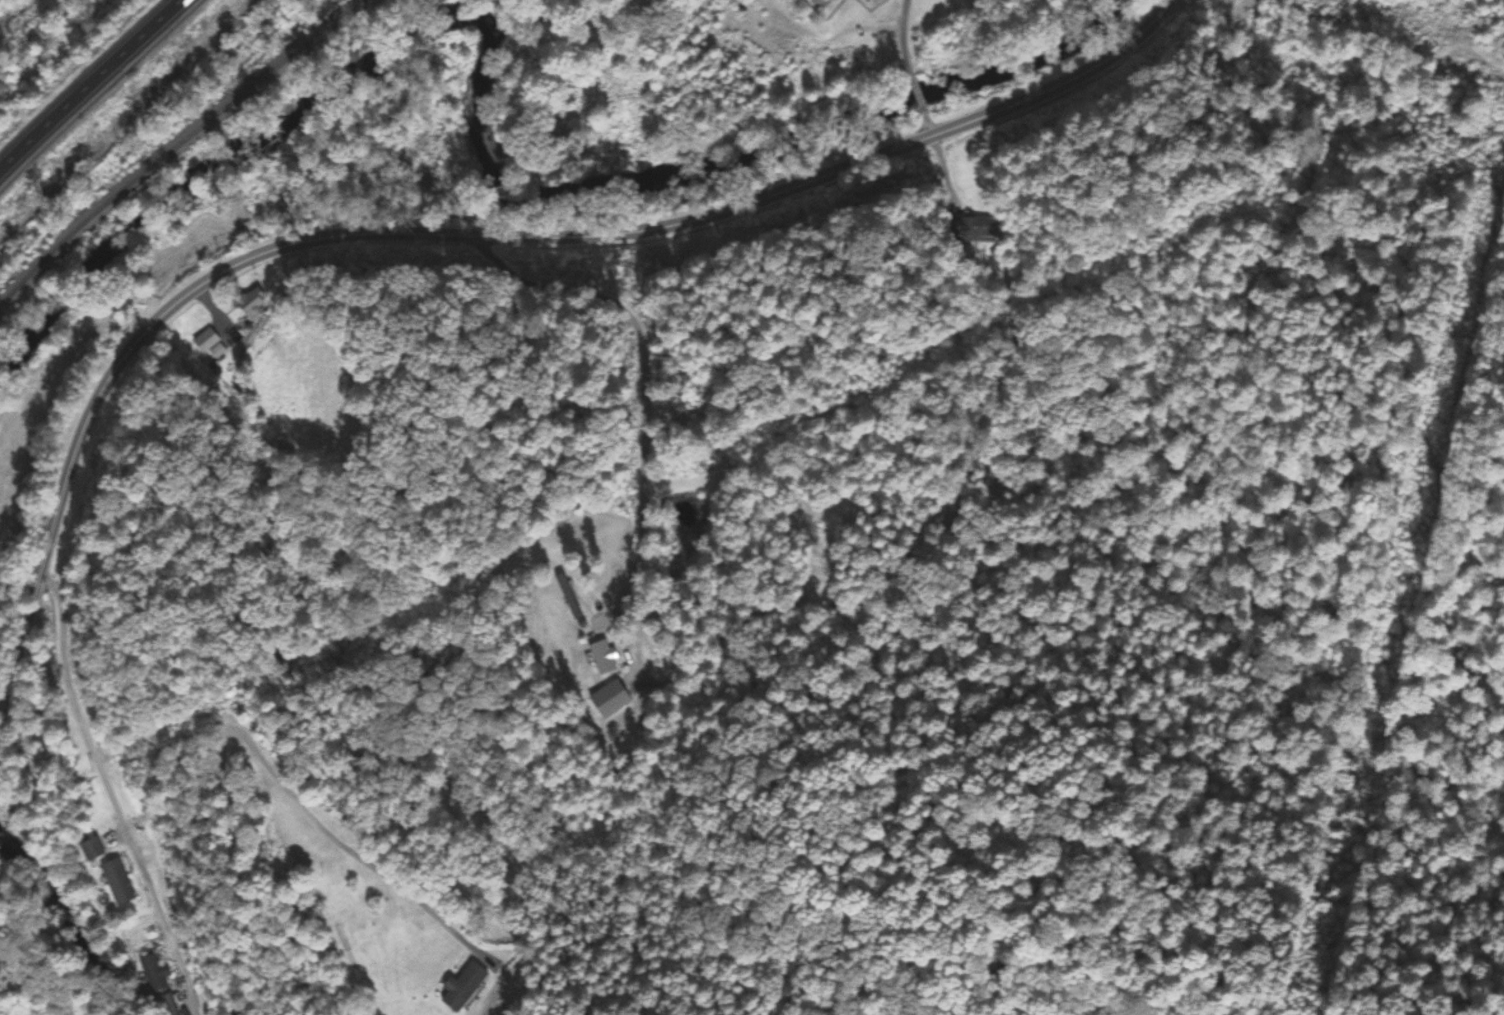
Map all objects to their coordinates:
road: (912, 68)
road: (88, 83)
river: (486, 134)
railway: (179, 151)
building: (982, 230)
road: (531, 234)
building: (252, 304)
building: (210, 343)
road: (639, 376)
building: (567, 598)
road: (19, 653)
building: (602, 658)
building: (609, 701)
road: (245, 745)
road: (118, 799)
building: (92, 850)
river: (58, 916)
building: (155, 973)
building: (462, 987)
building: (170, 1008)

